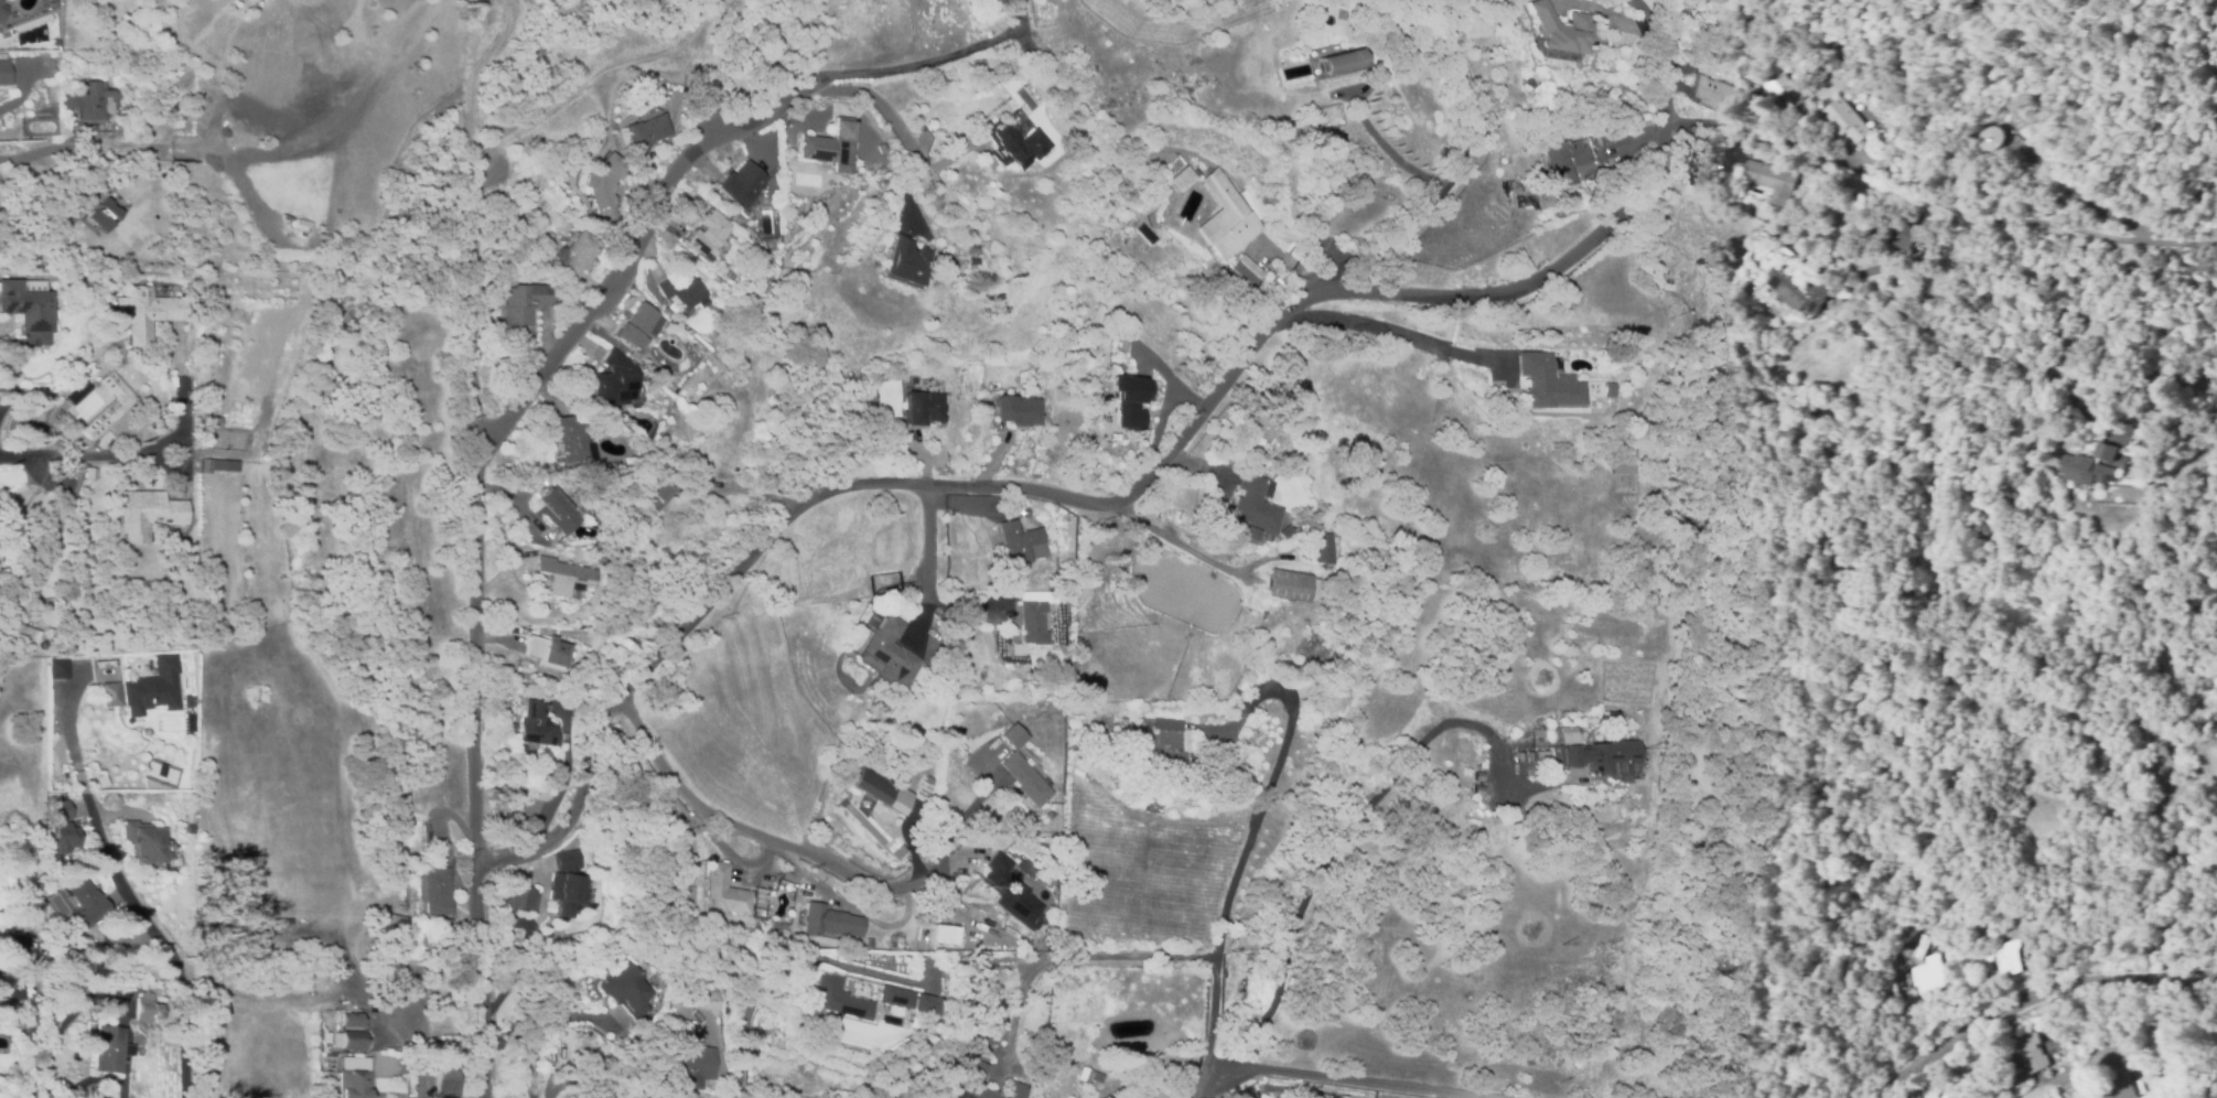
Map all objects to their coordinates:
building: (0, 0)
building: (49, 0)
building: (991, 2)
building: (1, 9)
building: (1560, 30)
road: (927, 55)
building: (1341, 62)
building: (4, 73)
road: (591, 77)
building: (1780, 93)
building: (1714, 94)
building: (94, 101)
building: (177, 105)
road: (889, 108)
building: (1845, 119)
building: (641, 132)
building: (1614, 138)
building: (1991, 138)
building: (1016, 143)
road: (100, 146)
building: (828, 147)
building: (885, 158)
building: (1565, 160)
road: (1443, 171)
building: (1759, 172)
building: (1183, 180)
building: (601, 186)
building: (733, 186)
road: (1939, 197)
building: (106, 214)
building: (1227, 217)
building: (1150, 219)
building: (1322, 220)
building: (1894, 230)
building: (699, 234)
road: (631, 251)
building: (977, 251)
building: (571, 255)
building: (906, 260)
building: (973, 261)
building: (1244, 273)
building: (1280, 282)
building: (1797, 288)
building: (670, 292)
building: (740, 297)
building: (520, 303)
road: (1858, 308)
building: (26, 312)
building: (147, 313)
building: (625, 326)
building: (603, 378)
building: (1546, 379)
building: (2152, 380)
building: (1610, 389)
building: (80, 392)
building: (60, 400)
building: (1124, 400)
building: (119, 401)
building: (924, 406)
building: (1015, 410)
building: (214, 420)
building: (560, 439)
building: (2103, 450)
road: (114, 453)
building: (1257, 459)
building: (217, 465)
building: (1624, 466)
building: (2083, 467)
building: (687, 481)
road: (1024, 489)
building: (653, 492)
building: (1252, 505)
building: (551, 513)
building: (147, 514)
road: (472, 530)
building: (1016, 539)
building: (1321, 547)
road: (1193, 553)
road: (926, 557)
building: (556, 575)
building: (1059, 581)
building: (1291, 585)
building: (893, 607)
building: (1031, 616)
building: (19, 633)
building: (886, 649)
building: (544, 653)
building: (1062, 658)
building: (57, 668)
building: (540, 680)
building: (153, 688)
building: (109, 693)
building: (501, 693)
building: (189, 699)
building: (189, 722)
building: (531, 726)
building: (1011, 736)
building: (1158, 749)
building: (1595, 753)
building: (1528, 756)
building: (1519, 757)
building: (1540, 757)
building: (892, 766)
building: (1474, 776)
building: (1024, 778)
building: (880, 789)
building: (1472, 790)
building: (62, 810)
road: (1354, 825)
road: (738, 827)
building: (85, 832)
building: (433, 836)
building: (63, 837)
building: (144, 843)
building: (893, 851)
building: (567, 883)
building: (437, 889)
building: (722, 891)
building: (1011, 891)
building: (757, 897)
road: (134, 898)
building: (521, 898)
building: (85, 901)
road: (1235, 903)
building: (757, 912)
building: (401, 921)
building: (828, 922)
building: (770, 927)
building: (1983, 938)
building: (869, 944)
building: (22, 946)
road: (1085, 957)
building: (2006, 957)
building: (392, 968)
road: (775, 970)
building: (1929, 975)
building: (11, 987)
building: (628, 987)
building: (895, 995)
road: (2033, 997)
building: (706, 998)
building: (835, 999)
building: (147, 1004)
building: (930, 1004)
road: (72, 1019)
building: (352, 1020)
road: (1122, 1033)
building: (348, 1040)
building: (112, 1049)
building: (458, 1051)
building: (2031, 1053)
building: (690, 1059)
building: (1084, 1075)
road: (2065, 1076)
building: (1095, 1077)
building: (970, 1078)
road: (1346, 1079)
building: (449, 1080)
building: (2085, 1083)
building: (353, 1084)
building: (613, 1087)
building: (2119, 1087)
building: (1956, 1096)

